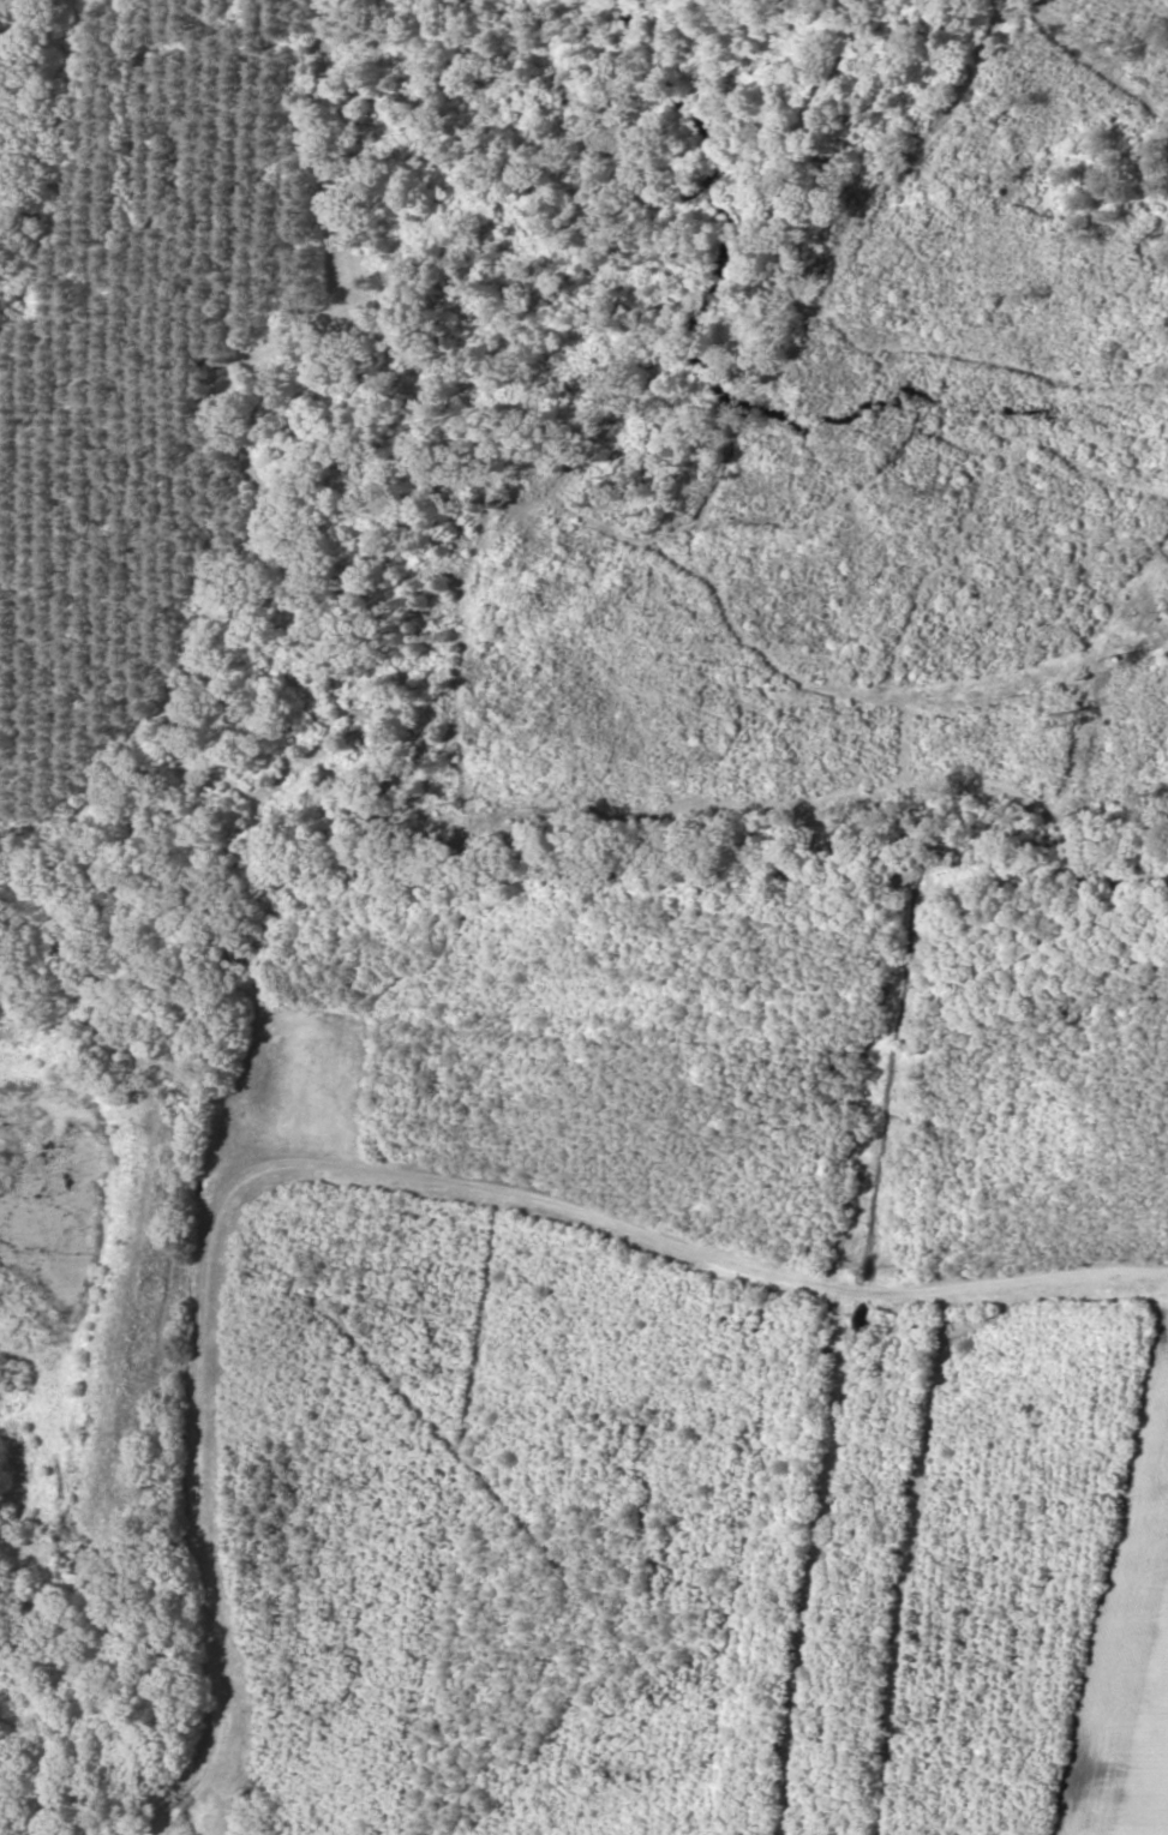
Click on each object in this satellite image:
road: (376, 1144)

